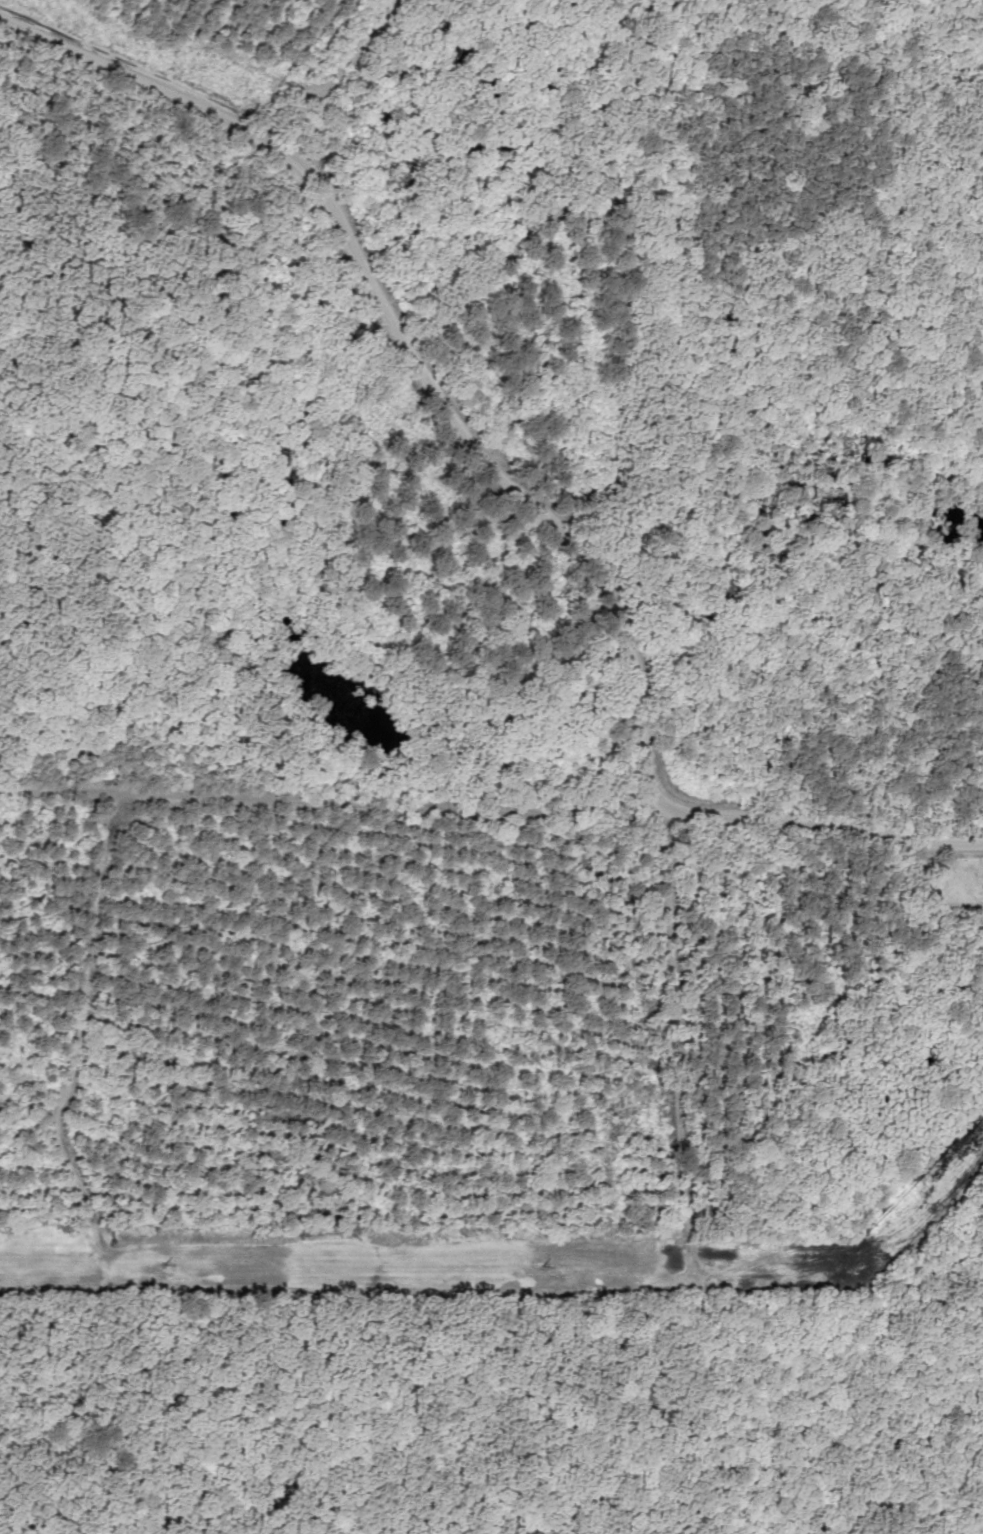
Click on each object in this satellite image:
road: (401, 342)
road: (322, 791)
road: (814, 816)

